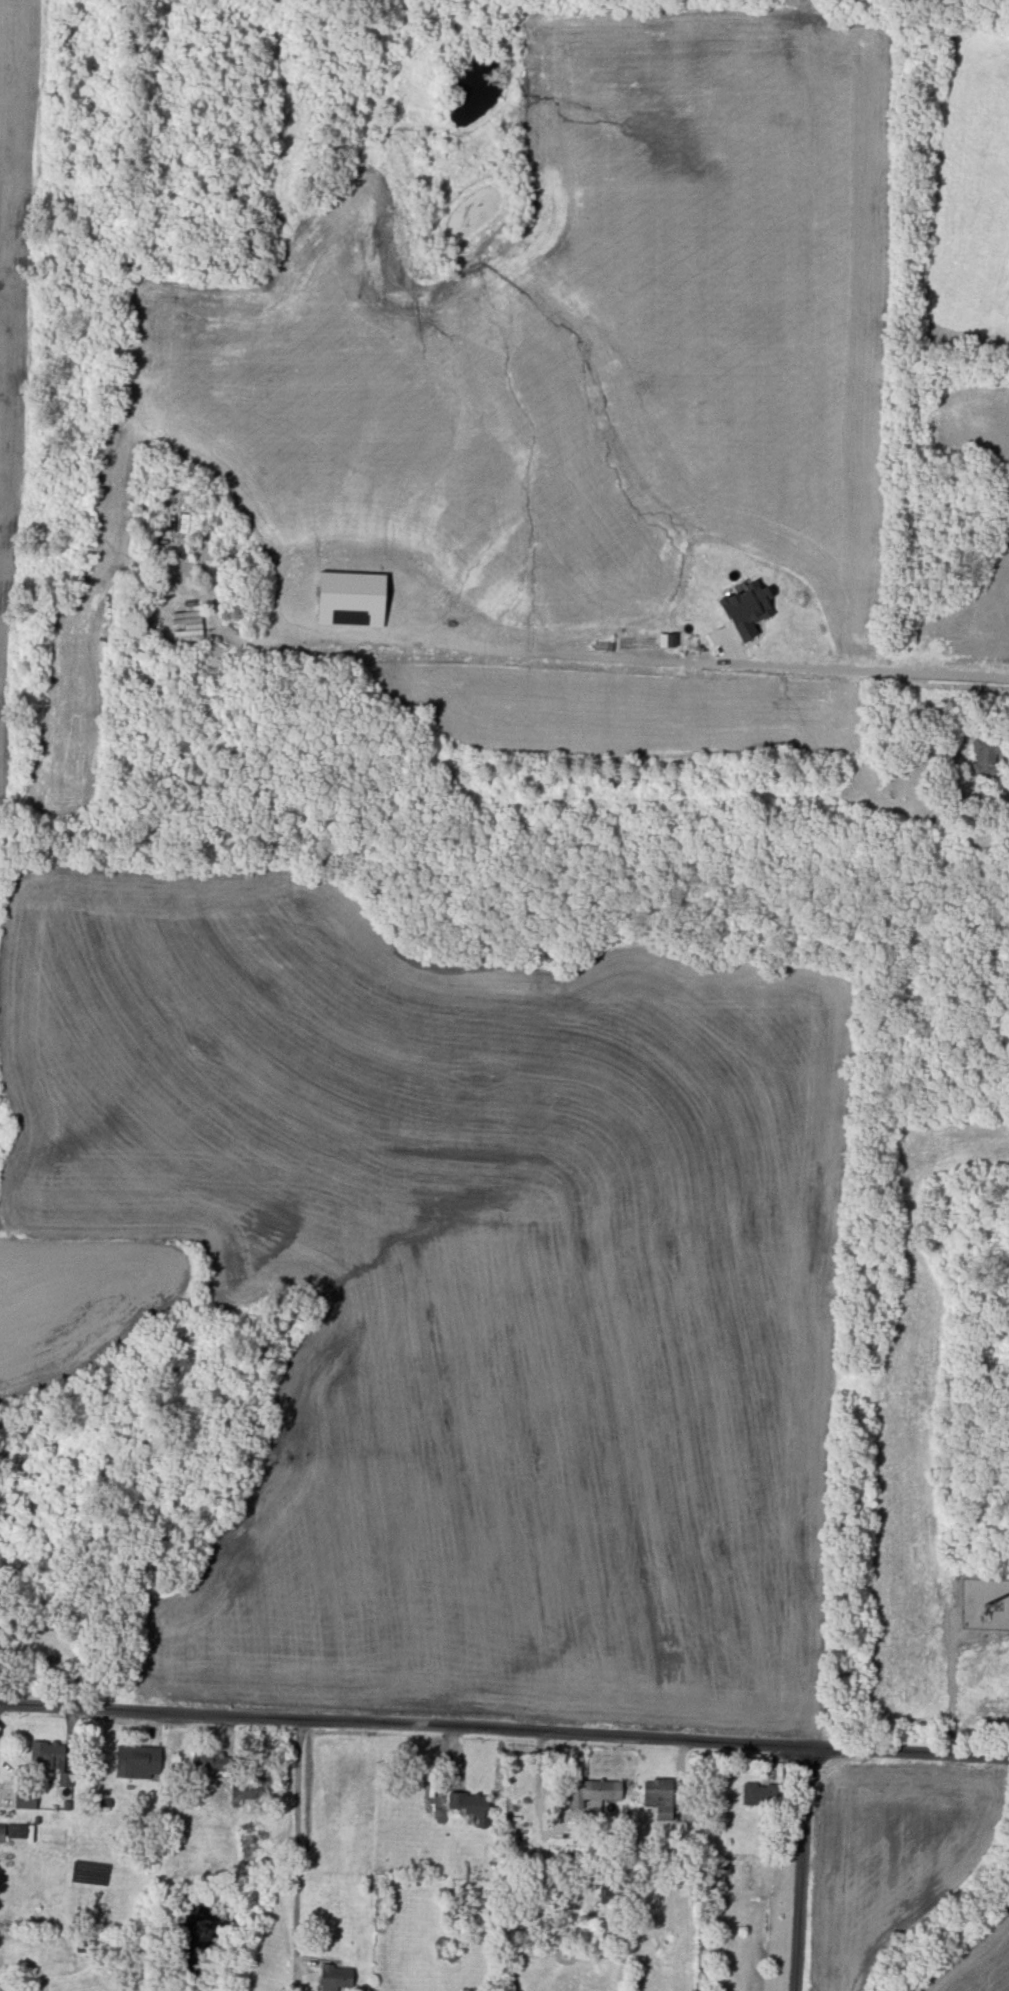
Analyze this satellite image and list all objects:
crop: (21, 305)
crop: (572, 353)
crop: (974, 422)
building: (351, 599)
building: (746, 609)
crop: (973, 621)
building: (666, 640)
road: (649, 656)
crop: (77, 696)
crop: (655, 719)
building: (984, 757)
crop: (1, 919)
crop: (470, 1287)
crop: (90, 1323)
crop: (917, 1417)
building: (0, 1653)
crop: (985, 1679)
road: (954, 1687)
road: (504, 1728)
building: (47, 1754)
building: (138, 1761)
building: (212, 1763)
building: (253, 1788)
building: (592, 1793)
building: (760, 1794)
building: (658, 1797)
building: (25, 1799)
building: (471, 1805)
building: (17, 1830)
building: (2, 1833)
road: (296, 1837)
road: (798, 1867)
building: (335, 1977)

